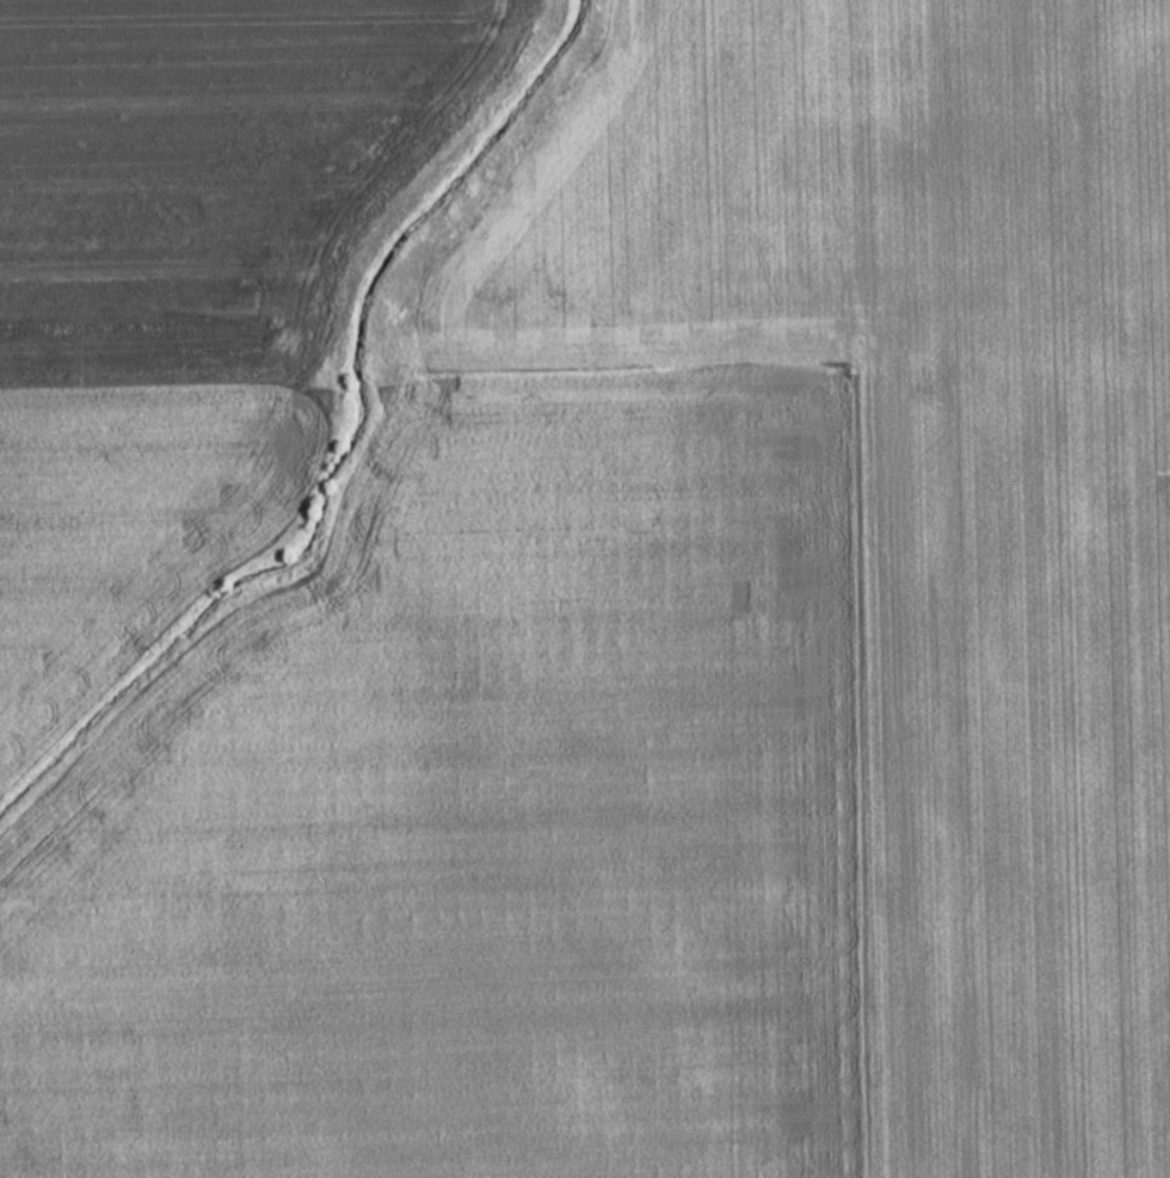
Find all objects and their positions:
crop: (183, 289)
crop: (923, 485)
crop: (481, 822)

